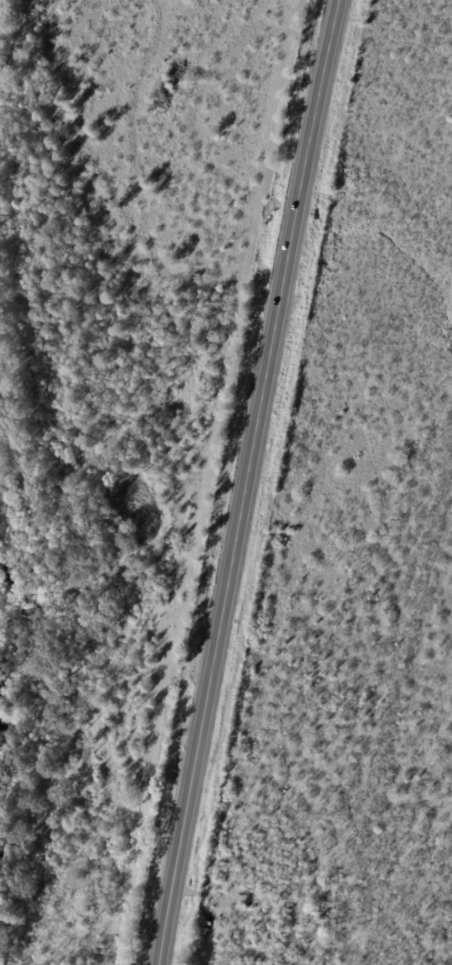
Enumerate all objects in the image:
road: (243, 481)

